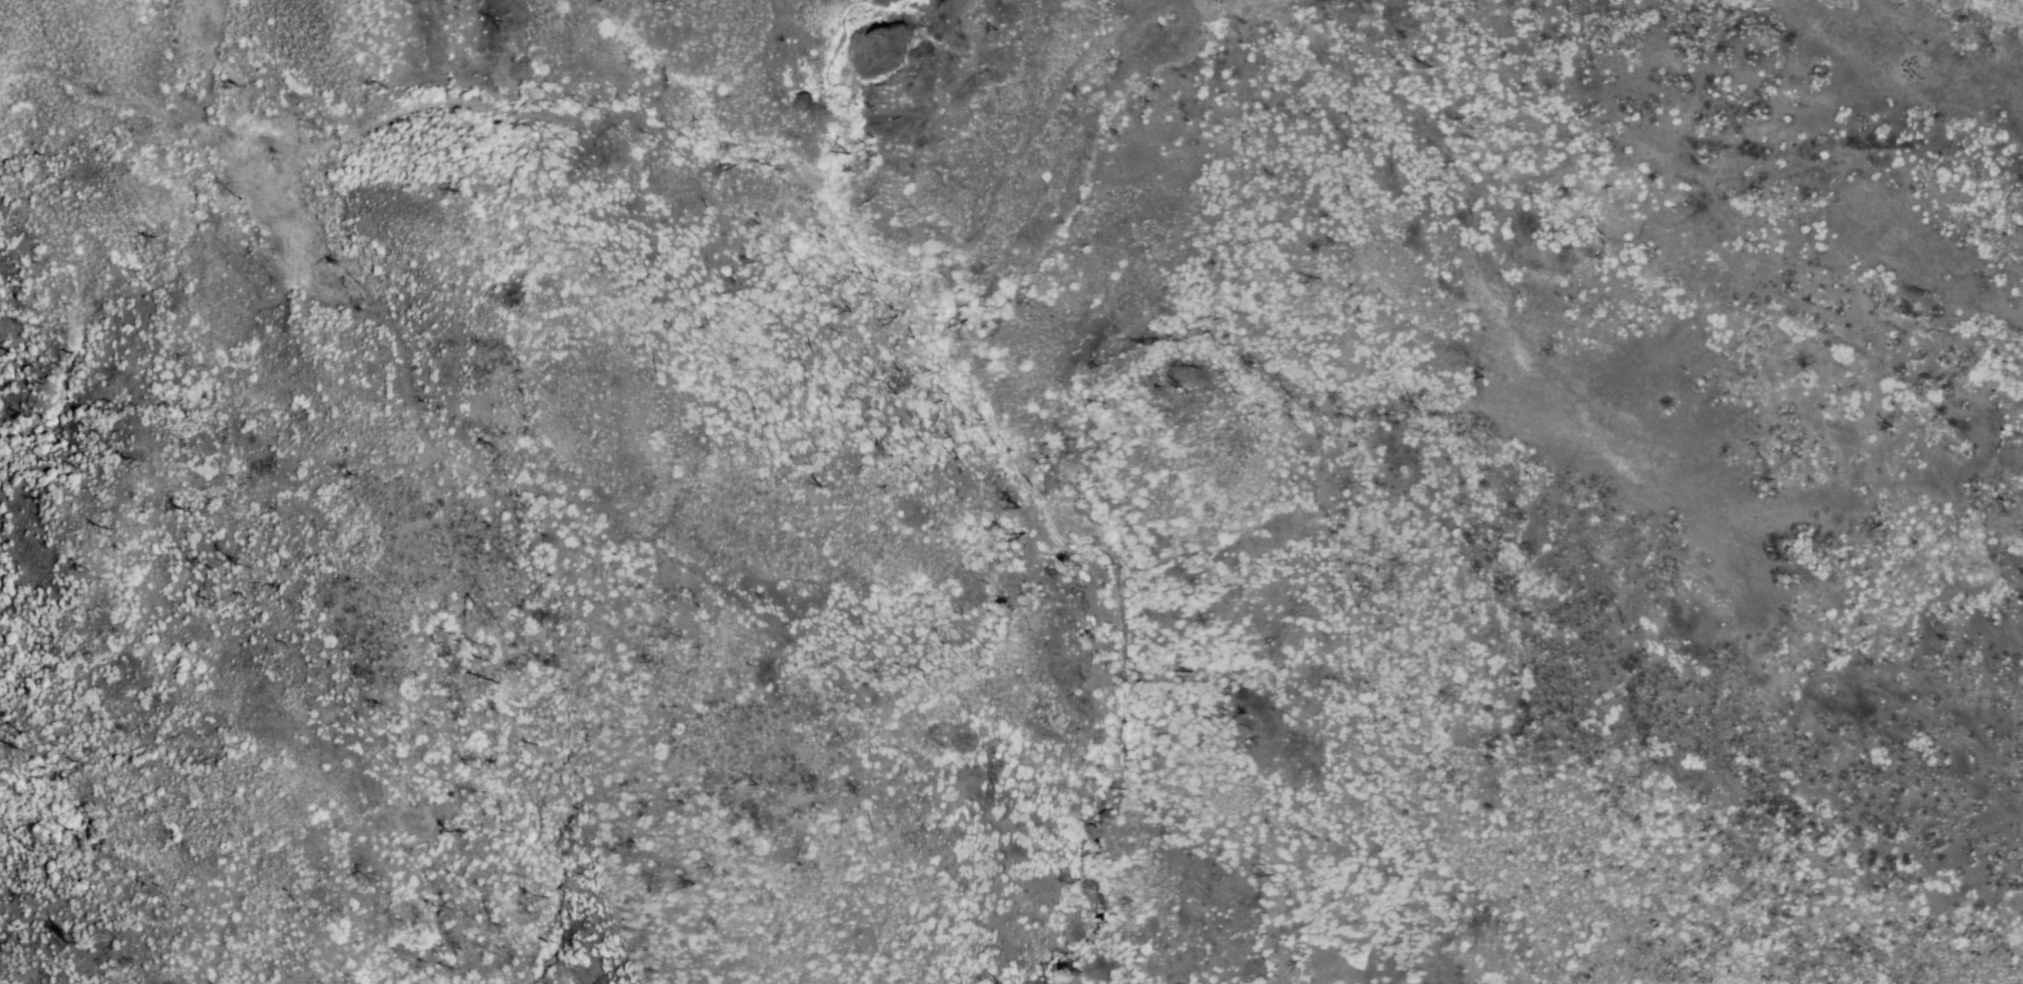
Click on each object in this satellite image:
road: (211, 64)
road: (679, 166)
road: (508, 484)

